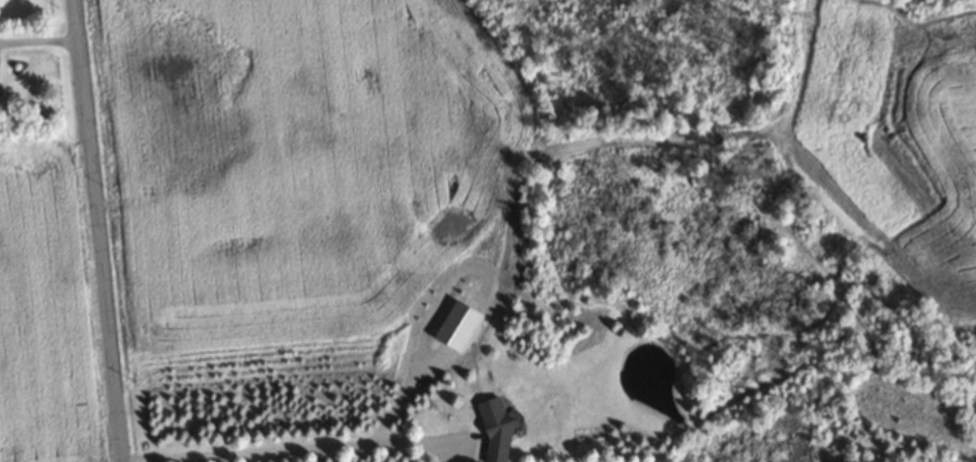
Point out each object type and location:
road: (95, 231)
building: (493, 431)
road: (291, 448)

